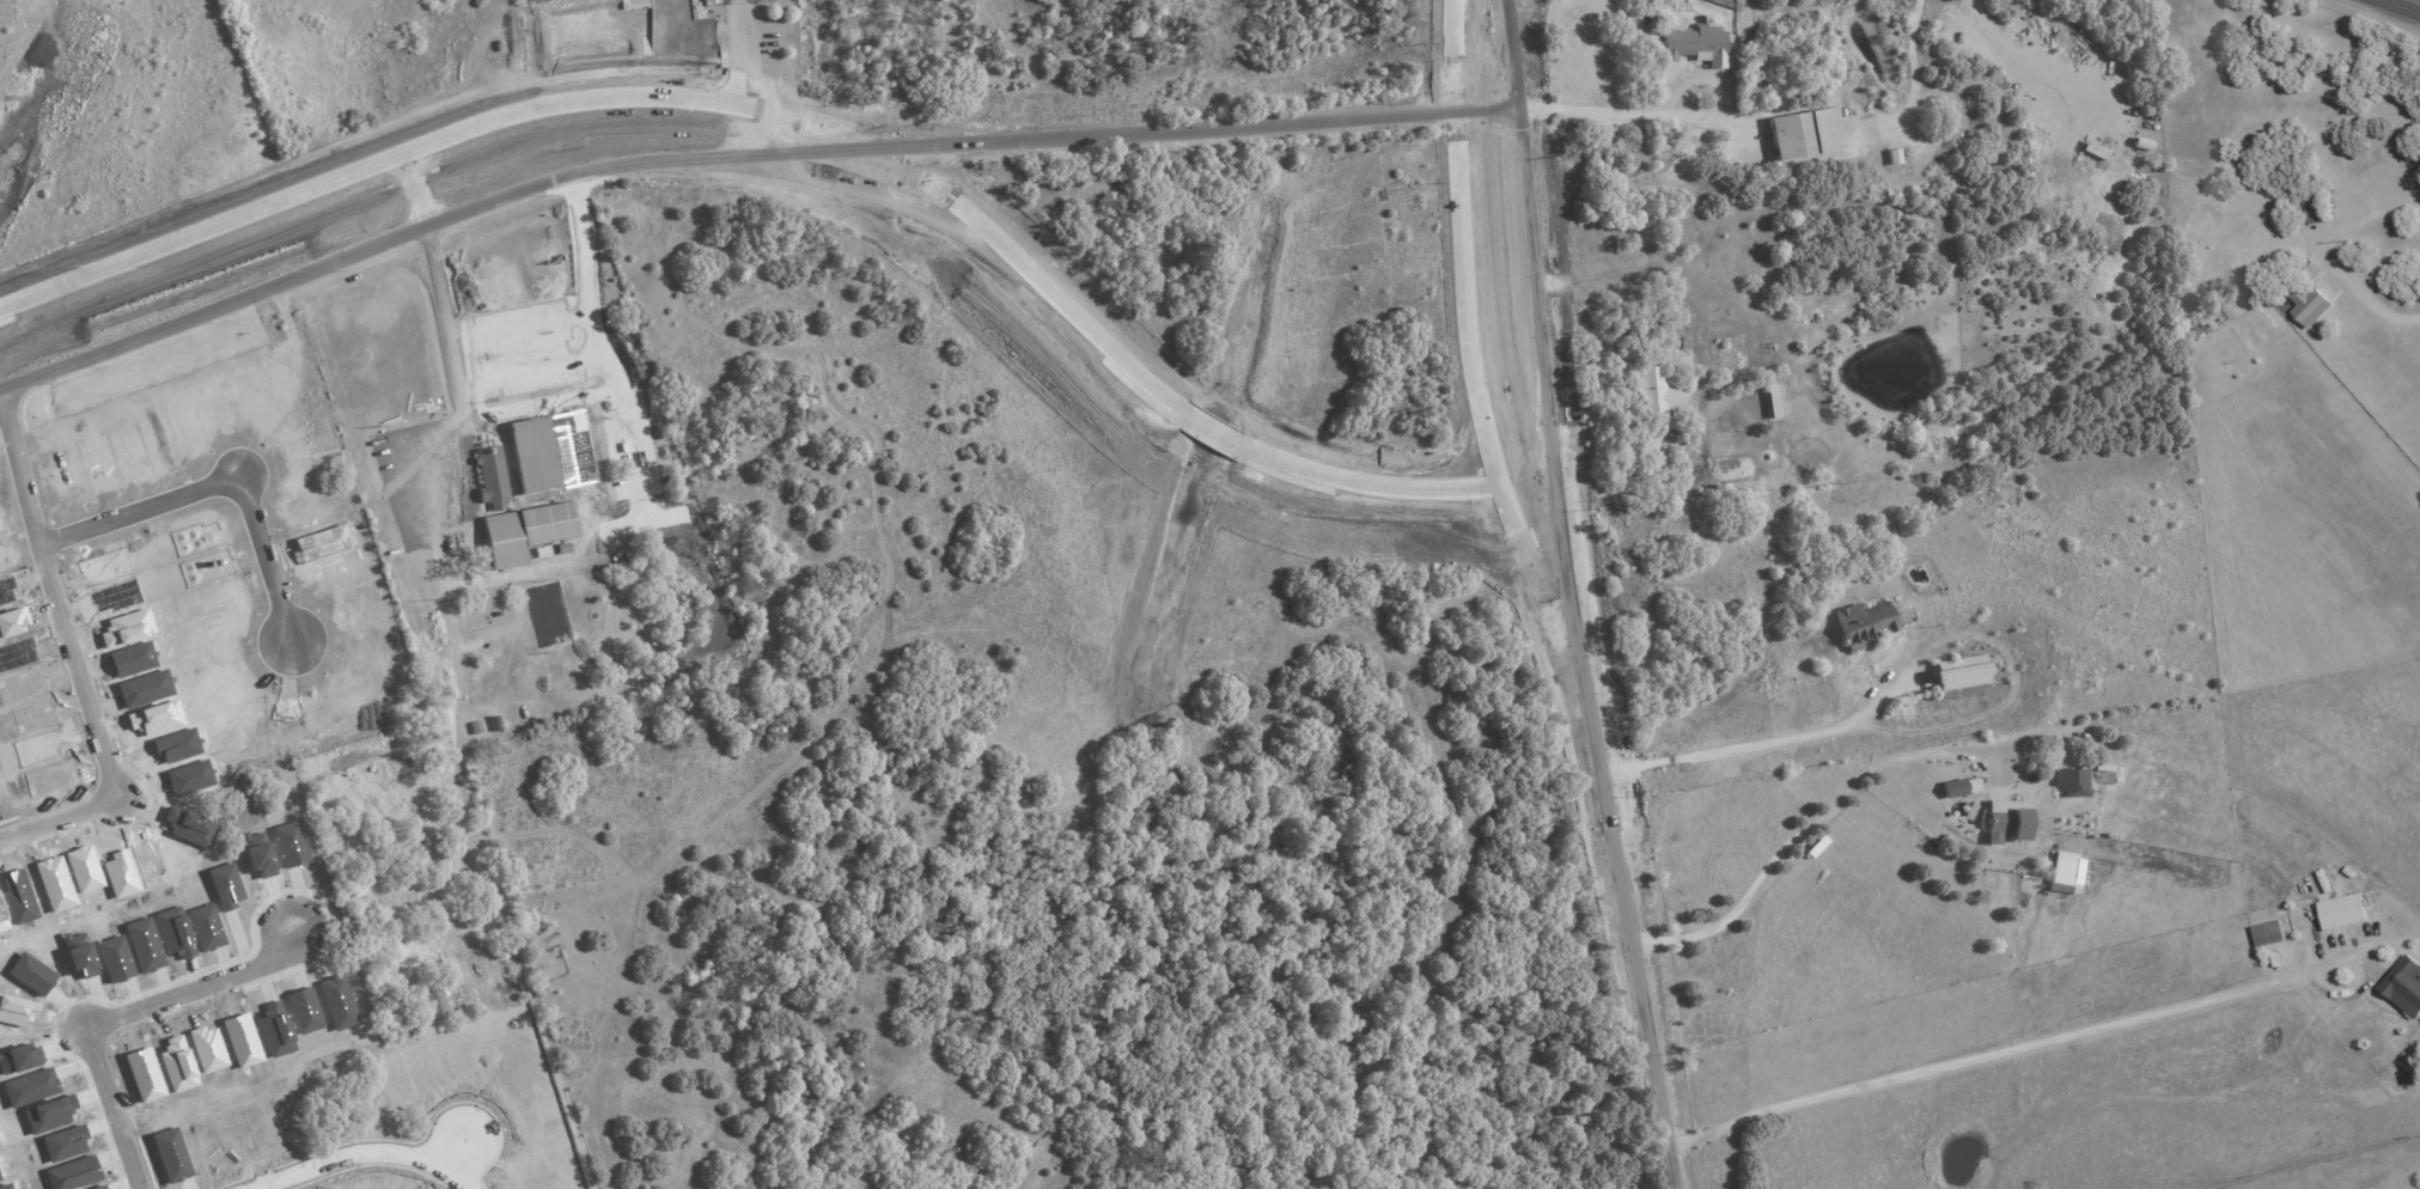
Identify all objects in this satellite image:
road: (2418, 0)
road: (1511, 24)
building: (1696, 45)
road: (738, 53)
road: (1700, 79)
road: (1516, 102)
road: (517, 111)
road: (1634, 114)
road: (1168, 129)
building: (1804, 134)
building: (2093, 151)
road: (415, 185)
building: (2315, 209)
road: (1461, 240)
road: (284, 270)
road: (2364, 293)
road: (1534, 297)
building: (2306, 304)
road: (1102, 331)
road: (537, 344)
building: (1653, 391)
building: (1772, 401)
road: (1217, 429)
road: (410, 440)
building: (490, 475)
road: (1370, 480)
road: (220, 482)
building: (601, 493)
building: (524, 532)
building: (1863, 624)
road: (73, 658)
building: (1958, 672)
road: (1756, 743)
building: (190, 778)
building: (2072, 781)
building: (1953, 788)
building: (2005, 819)
road: (1614, 824)
building: (190, 827)
road: (1806, 827)
building: (291, 843)
building: (258, 854)
building: (150, 865)
building: (2065, 873)
road: (477, 874)
building: (225, 885)
building: (2342, 911)
building: (206, 927)
building: (175, 932)
building: (2268, 933)
building: (2404, 986)
building: (337, 1001)
building: (433, 1002)
building: (303, 1010)
road: (118, 1016)
building: (274, 1030)
road: (2006, 1051)
road: (361, 1150)

